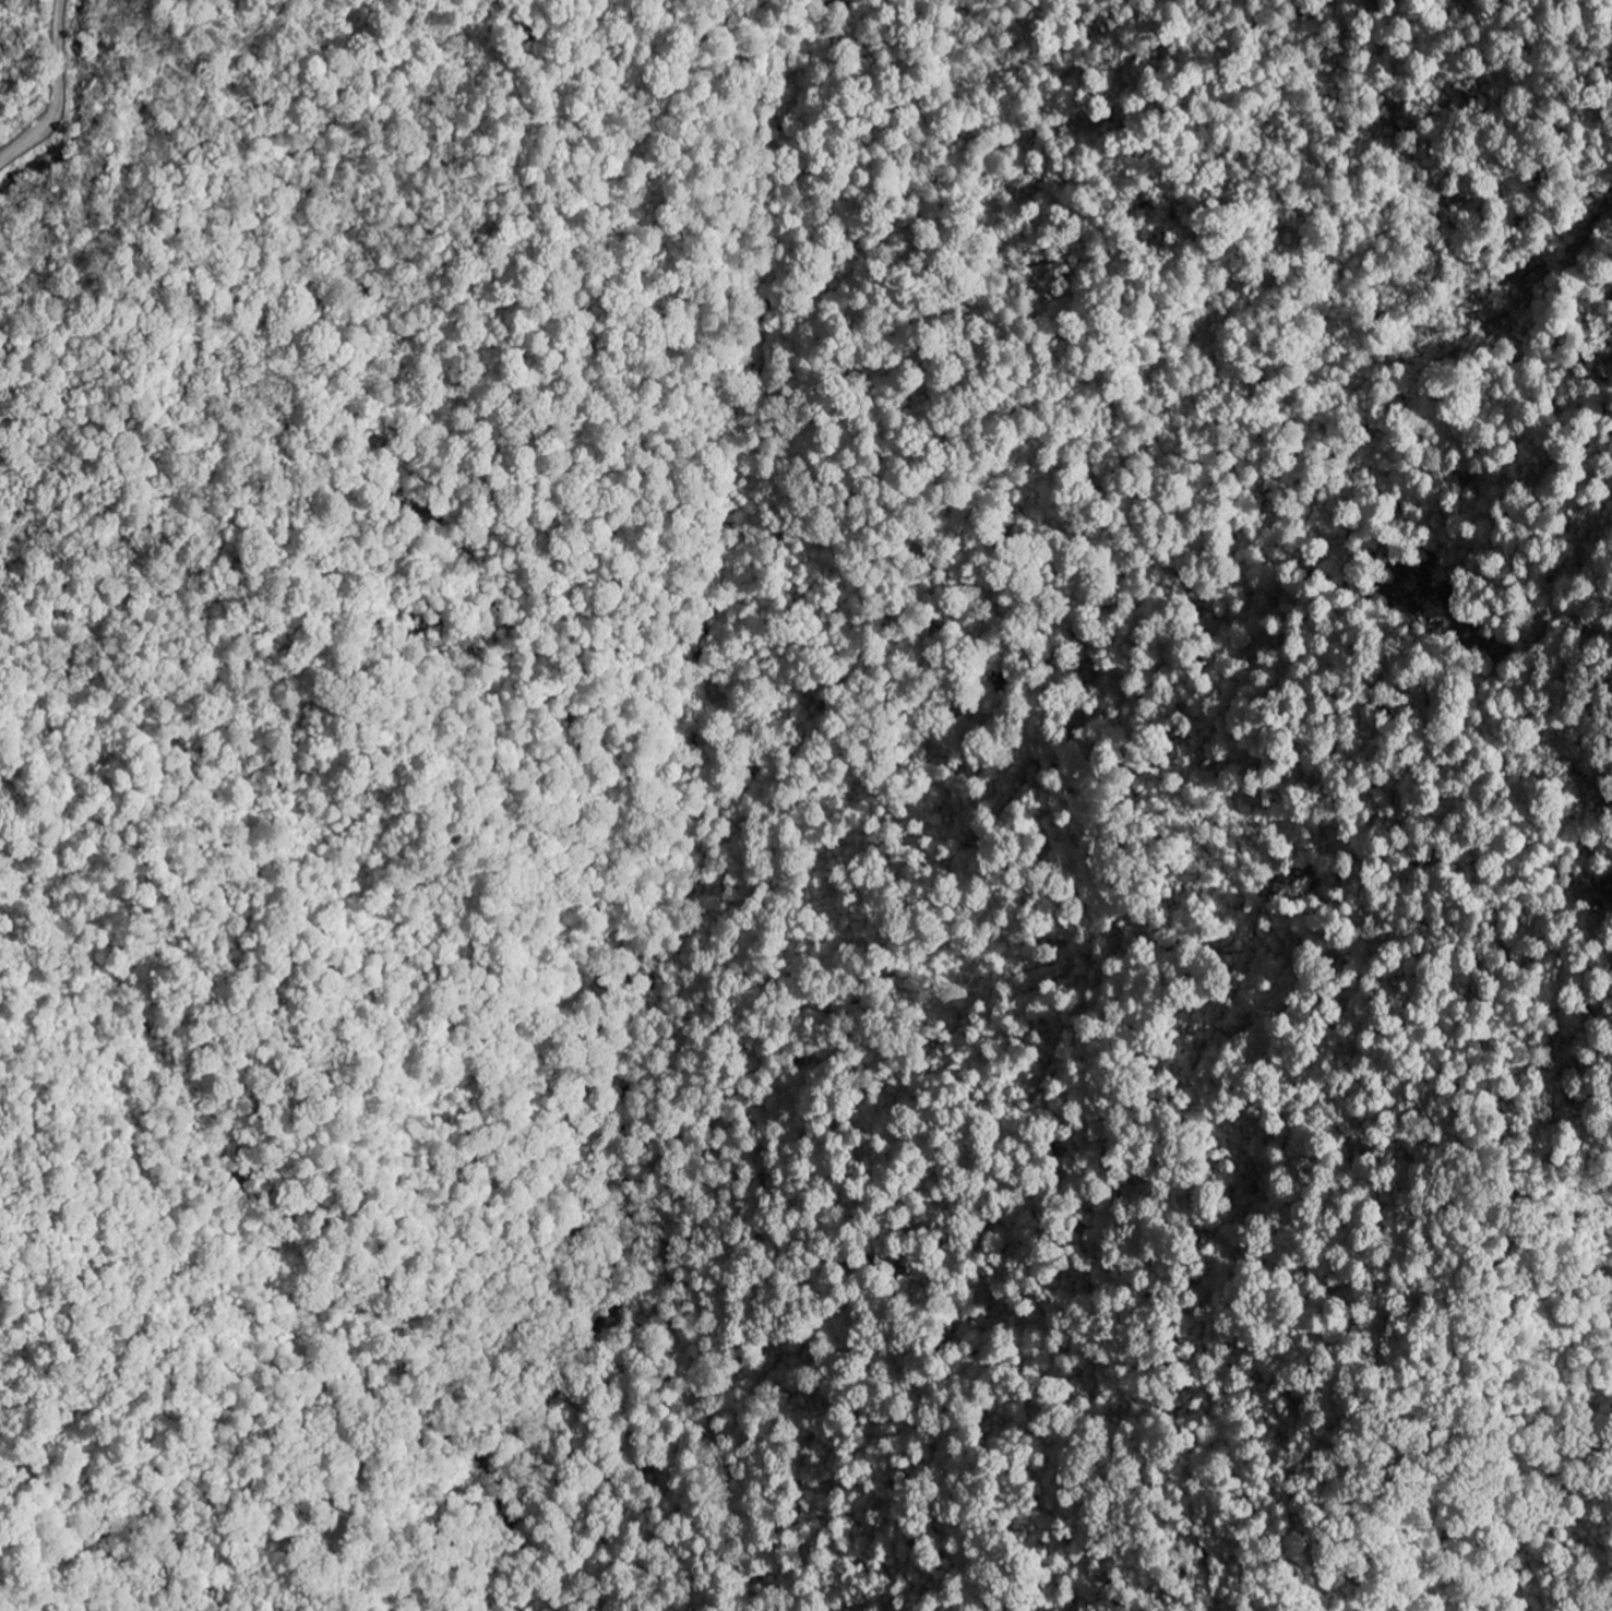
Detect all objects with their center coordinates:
road: (86, 71)

